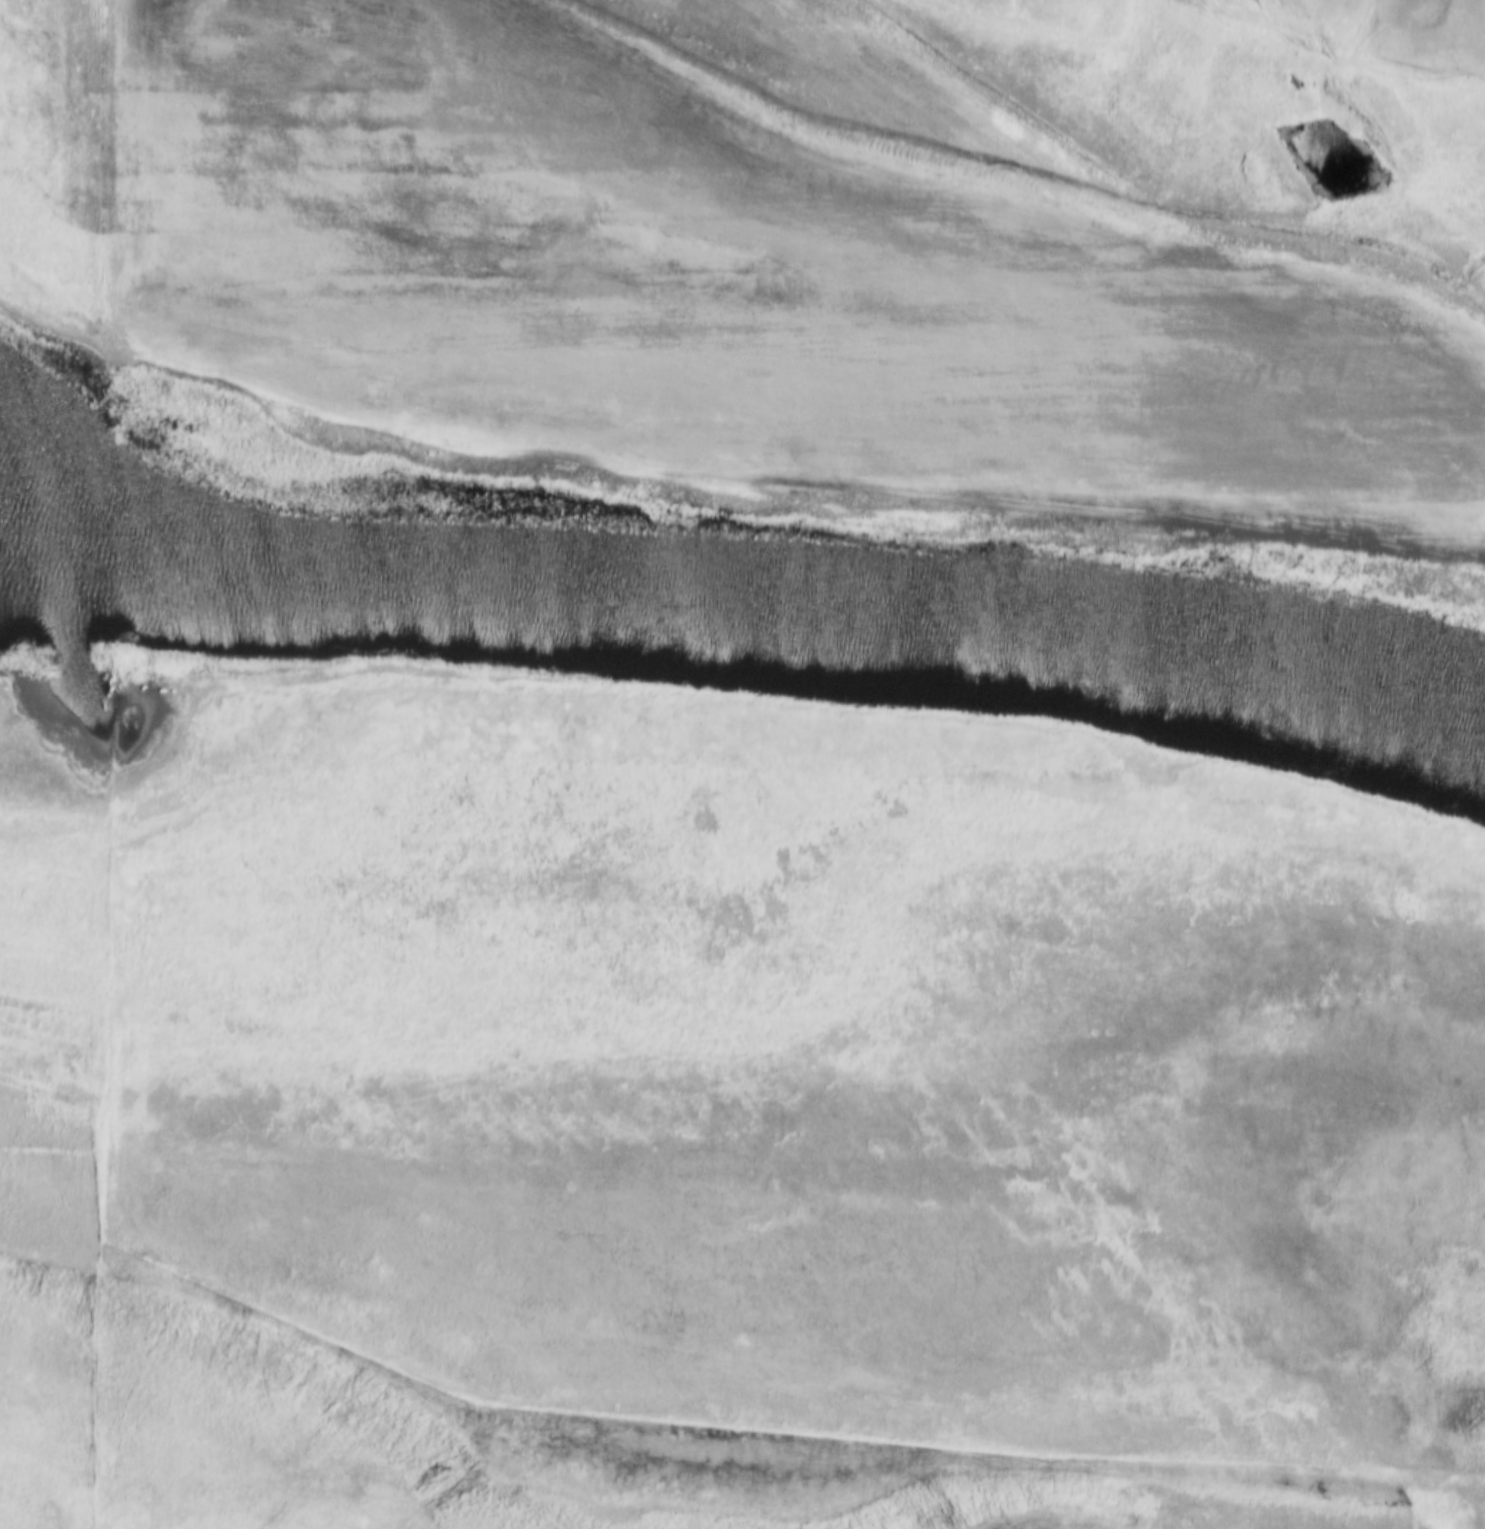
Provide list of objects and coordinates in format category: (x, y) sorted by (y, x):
river: (737, 621)

